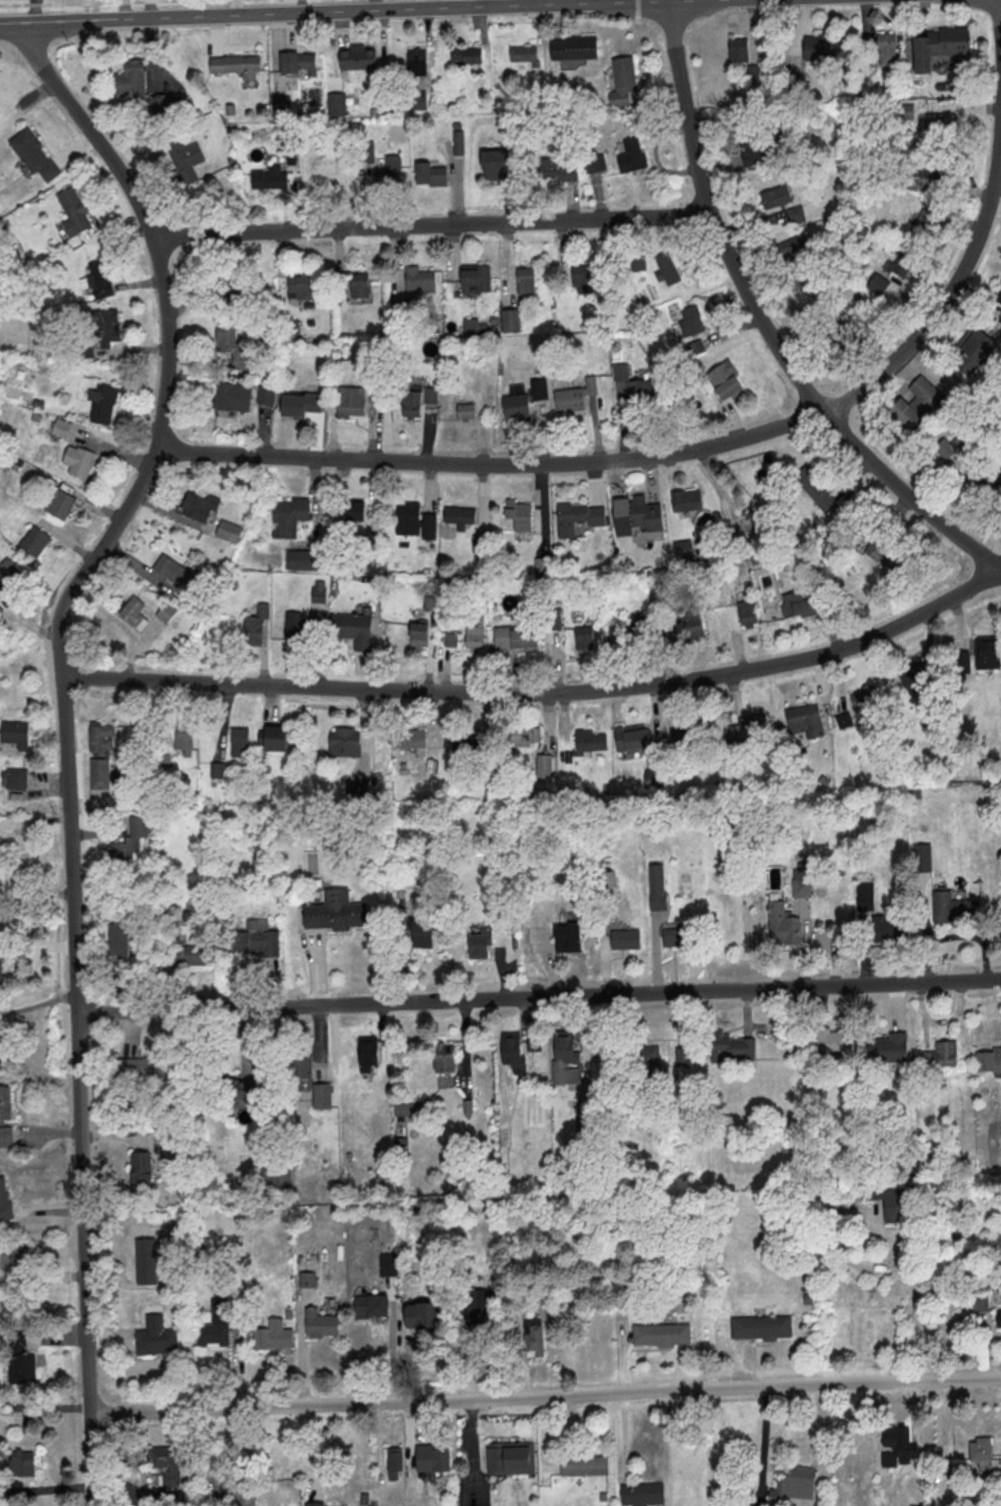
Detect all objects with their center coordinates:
road: (85, 3)
road: (479, 3)
road: (298, 6)
road: (147, 8)
road: (636, 8)
road: (92, 9)
road: (307, 12)
building: (946, 38)
building: (571, 46)
building: (821, 47)
building: (886, 48)
building: (738, 49)
building: (464, 54)
building: (522, 54)
building: (355, 58)
building: (414, 61)
building: (295, 62)
building: (234, 64)
building: (755, 74)
building: (128, 77)
building: (619, 80)
building: (414, 100)
building: (334, 102)
building: (165, 103)
building: (278, 106)
building: (0, 109)
building: (939, 123)
building: (458, 142)
building: (753, 148)
building: (362, 151)
building: (634, 153)
building: (32, 154)
building: (180, 159)
building: (932, 168)
building: (565, 171)
building: (493, 172)
building: (431, 173)
building: (270, 176)
building: (327, 178)
building: (775, 196)
building: (71, 212)
building: (795, 214)
road: (429, 223)
building: (924, 224)
building: (793, 245)
building: (643, 263)
building: (902, 263)
building: (666, 270)
building: (476, 278)
building: (585, 278)
building: (417, 279)
building: (99, 280)
building: (526, 282)
building: (360, 284)
building: (301, 285)
building: (882, 285)
building: (228, 287)
building: (998, 294)
building: (510, 319)
building: (691, 320)
road: (765, 324)
building: (108, 326)
building: (848, 337)
building: (977, 344)
building: (231, 347)
building: (633, 382)
building: (727, 382)
building: (923, 392)
building: (266, 395)
building: (431, 395)
building: (233, 396)
building: (567, 398)
building: (348, 400)
building: (103, 402)
building: (411, 404)
building: (513, 404)
building: (302, 405)
building: (466, 411)
building: (906, 413)
building: (62, 427)
road: (728, 440)
building: (947, 446)
building: (76, 460)
building: (814, 487)
building: (686, 499)
building: (59, 503)
building: (200, 505)
building: (354, 512)
building: (640, 512)
building: (520, 513)
building: (457, 514)
building: (286, 516)
building: (574, 516)
building: (414, 520)
building: (228, 530)
building: (32, 540)
building: (479, 542)
building: (683, 548)
building: (881, 553)
building: (301, 559)
building: (173, 570)
building: (6, 571)
building: (316, 591)
building: (798, 604)
building: (133, 612)
building: (166, 612)
building: (747, 613)
building: (554, 620)
building: (254, 627)
building: (688, 627)
building: (297, 628)
building: (350, 628)
building: (628, 631)
building: (419, 633)
building: (512, 636)
building: (474, 637)
building: (584, 637)
building: (451, 639)
building: (986, 652)
building: (961, 660)
building: (914, 674)
road: (541, 688)
building: (862, 696)
building: (803, 718)
road: (64, 726)
building: (748, 728)
building: (13, 733)
building: (519, 733)
building: (96, 737)
building: (272, 737)
building: (627, 737)
building: (408, 738)
building: (586, 740)
building: (182, 741)
building: (237, 742)
building: (341, 742)
building: (464, 742)
building: (543, 764)
building: (217, 769)
building: (100, 776)
building: (18, 780)
road: (34, 818)
building: (127, 839)
building: (657, 886)
building: (862, 896)
building: (953, 907)
building: (333, 911)
building: (776, 922)
building: (885, 929)
building: (419, 933)
building: (566, 935)
building: (257, 937)
building: (674, 937)
building: (622, 939)
building: (479, 943)
road: (37, 946)
building: (116, 947)
building: (192, 954)
building: (0, 968)
road: (539, 996)
road: (38, 1003)
building: (831, 1039)
building: (728, 1047)
building: (885, 1048)
building: (514, 1050)
building: (368, 1051)
building: (939, 1055)
building: (445, 1056)
building: (636, 1056)
building: (566, 1058)
building: (988, 1058)
building: (303, 1065)
building: (143, 1066)
building: (241, 1089)
building: (322, 1094)
building: (410, 1108)
building: (4, 1116)
road: (114, 1136)
building: (137, 1171)
building: (4, 1202)
building: (891, 1202)
road: (45, 1208)
road: (887, 1240)
building: (16, 1260)
building: (389, 1263)
building: (307, 1279)
building: (978, 1302)
building: (367, 1305)
building: (480, 1308)
building: (424, 1314)
building: (998, 1317)
building: (318, 1323)
building: (212, 1325)
building: (759, 1327)
building: (659, 1334)
building: (270, 1335)
building: (153, 1336)
building: (533, 1337)
building: (20, 1360)
road: (544, 1396)
road: (765, 1442)
building: (896, 1446)
building: (977, 1448)
road: (313, 1453)
building: (508, 1457)
building: (429, 1458)
building: (20, 1462)
building: (162, 1463)
building: (392, 1463)
building: (581, 1464)
building: (790, 1482)
building: (235, 1491)
building: (639, 1493)
building: (311, 1504)

